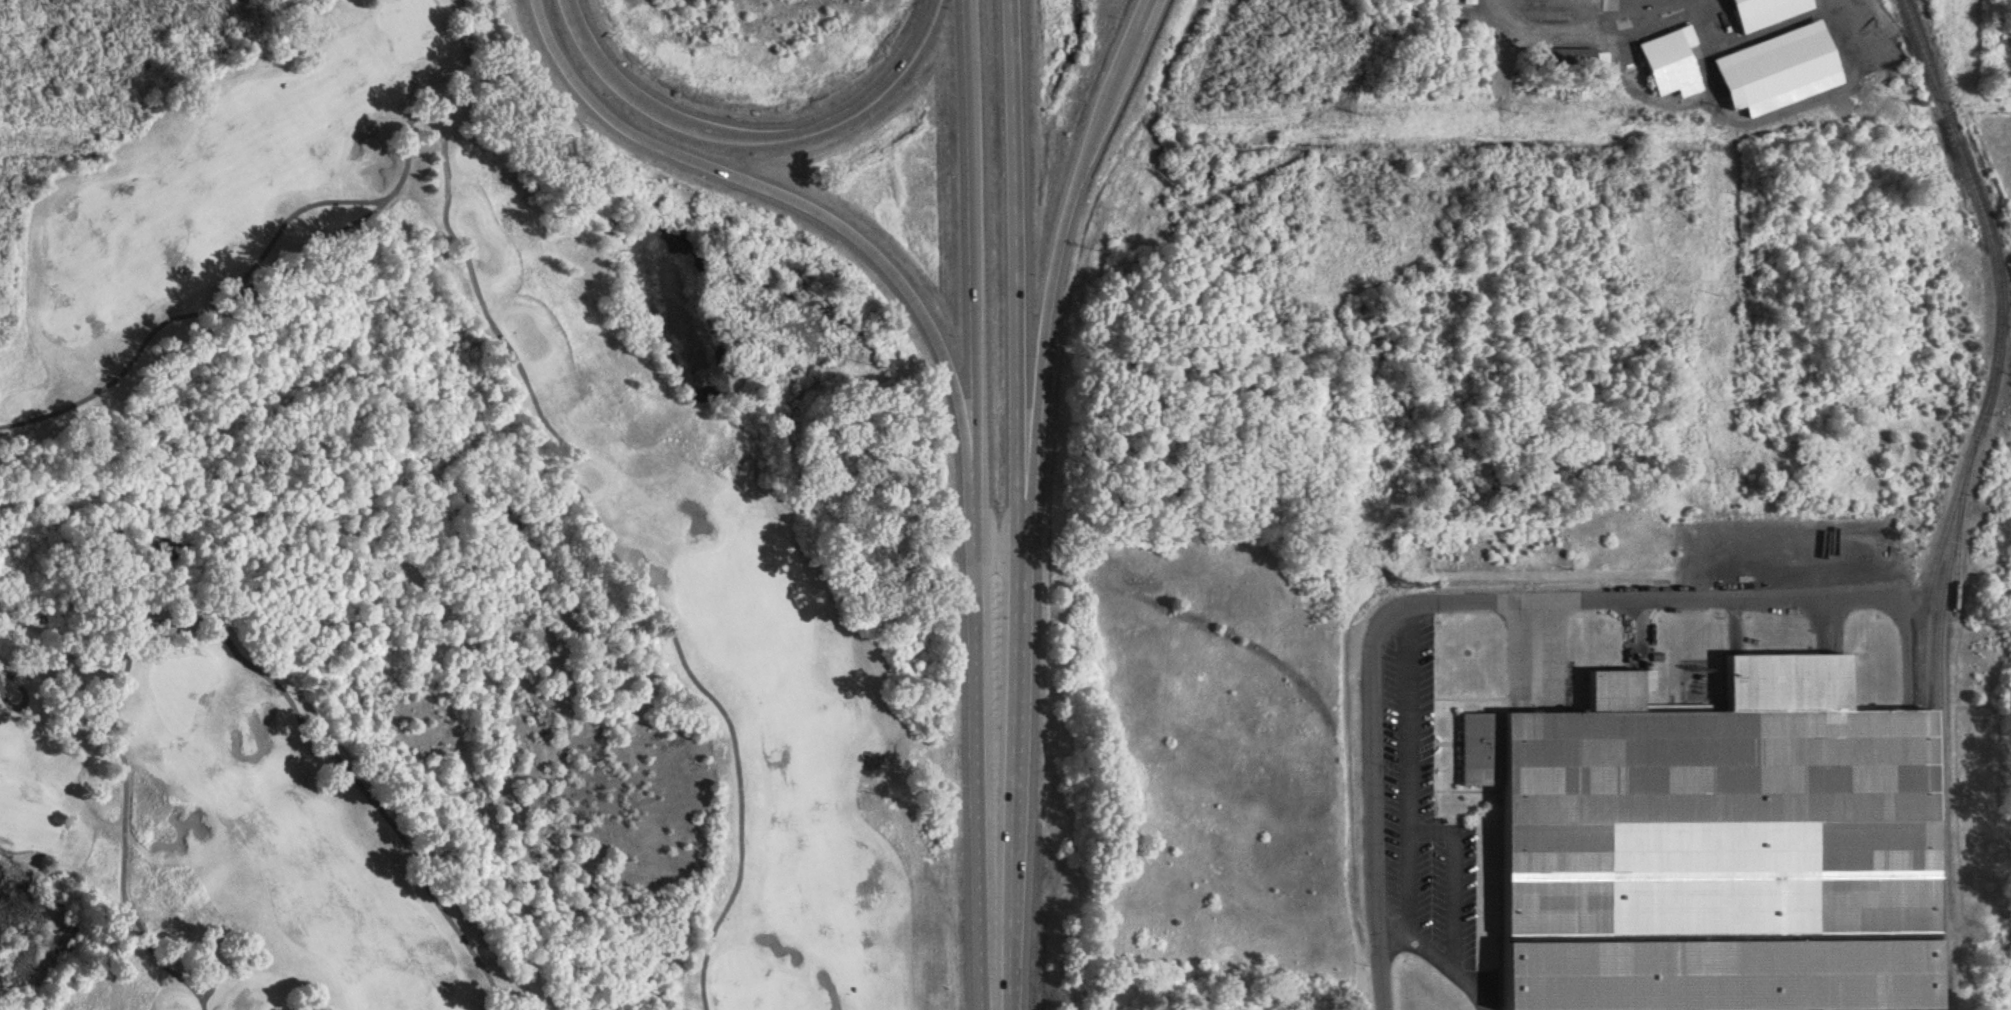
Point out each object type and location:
building: (1469, 2)
road: (1144, 10)
building: (1768, 11)
road: (1590, 17)
park: (413, 28)
railway: (1915, 58)
building: (1573, 59)
building: (1672, 64)
building: (1781, 69)
railway: (1946, 114)
road: (749, 138)
road: (807, 210)
road: (1062, 241)
road: (485, 310)
road: (982, 505)
road: (1026, 505)
railway: (1957, 562)
park: (424, 576)
road: (1473, 597)
railway: (1925, 612)
road: (210, 620)
road: (14, 676)
road: (14, 703)
railway: (1940, 730)
road: (1411, 768)
building: (1721, 846)
road: (1454, 878)
road: (1413, 936)
road: (203, 978)
railway: (1923, 1008)

